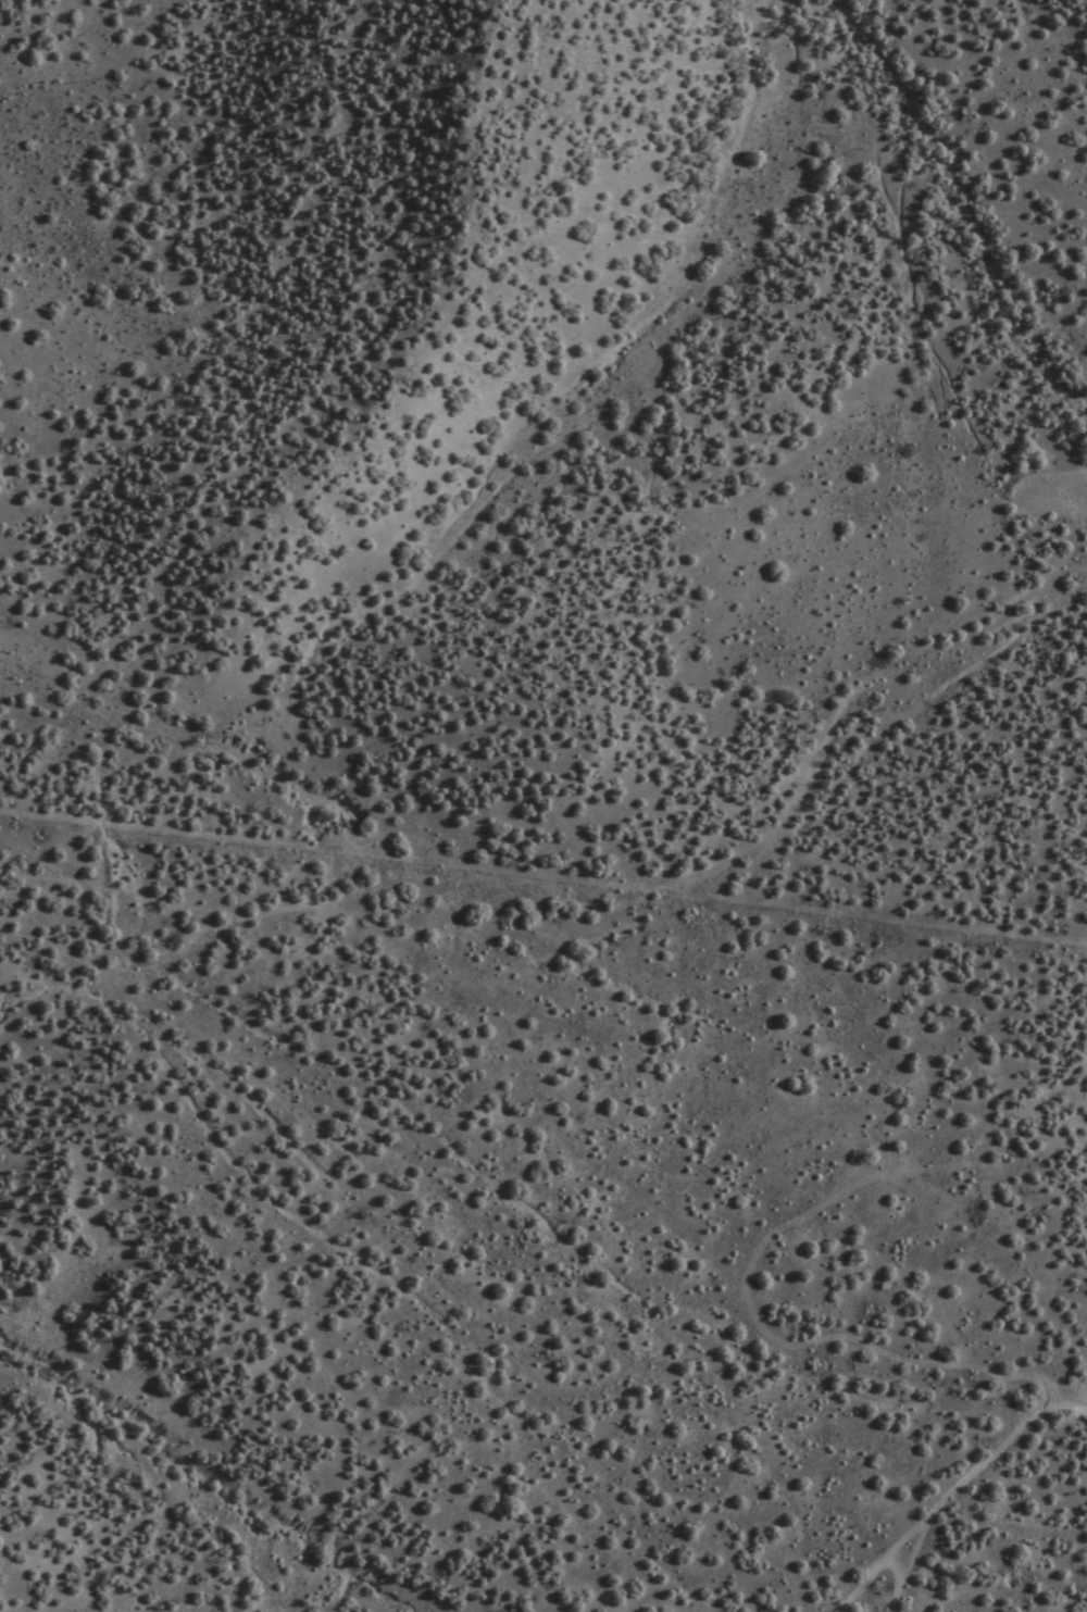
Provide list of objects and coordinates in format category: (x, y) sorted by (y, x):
road: (966, 1495)

